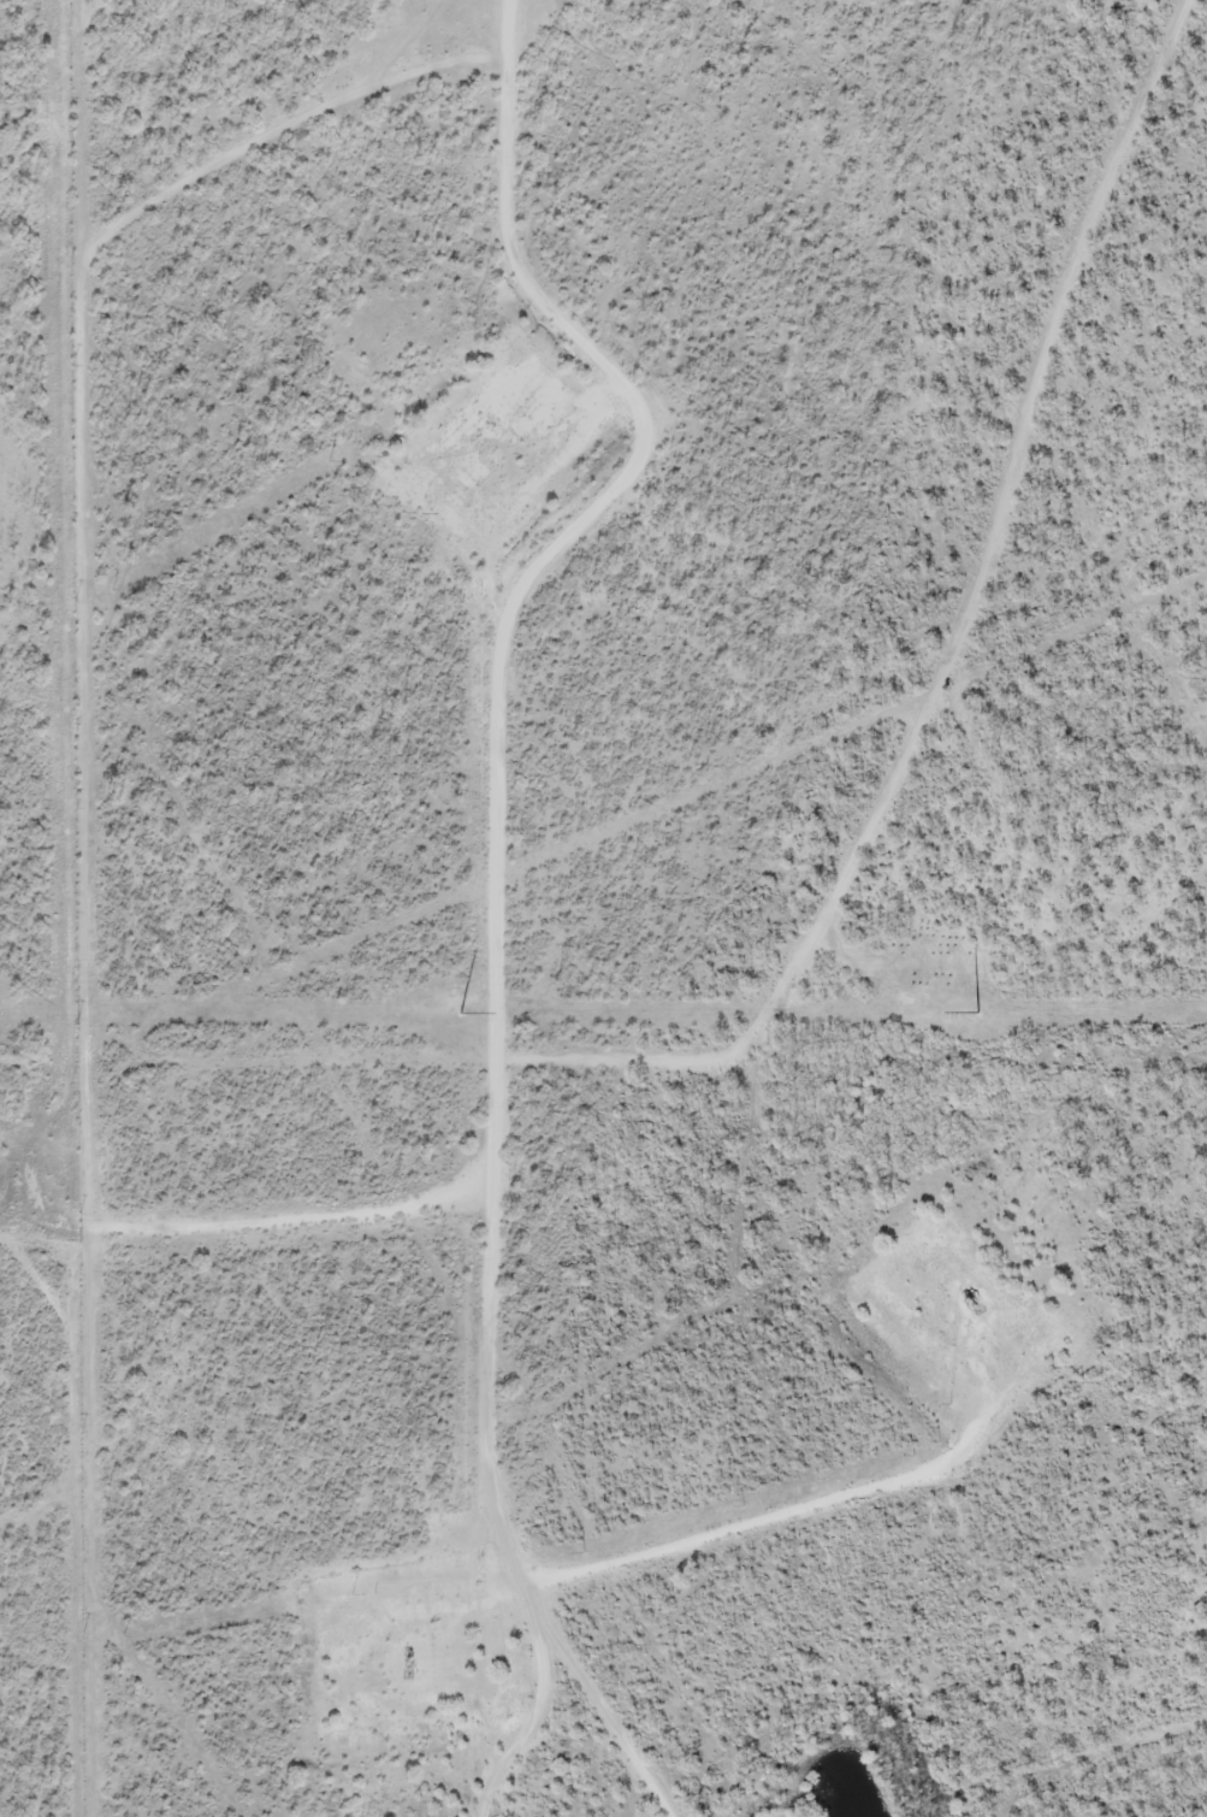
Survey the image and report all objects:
road: (93, 908)
power tower: (978, 1010)
power tower: (463, 1011)

